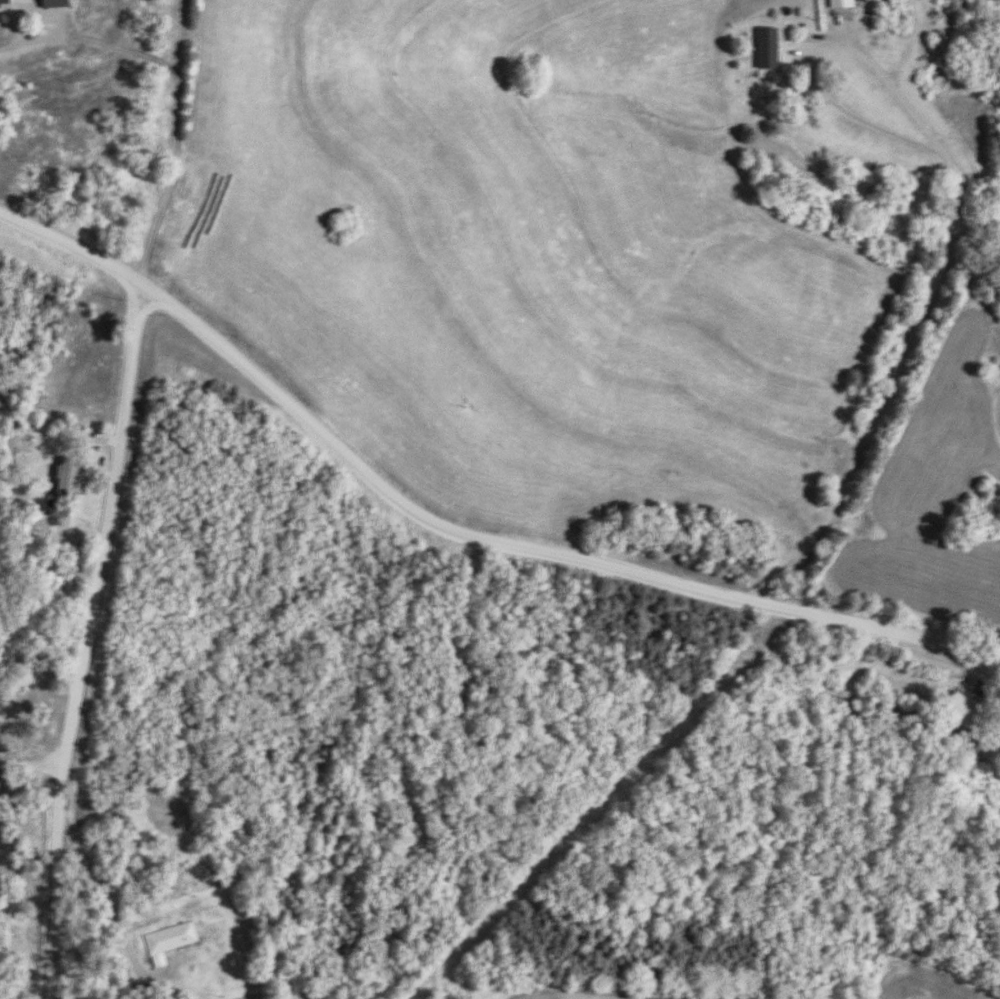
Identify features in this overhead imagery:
building: (3, 4)
building: (841, 4)
road: (48, 10)
road: (8, 50)
building: (765, 51)
road: (953, 214)
road: (73, 251)
road: (541, 266)
building: (67, 480)
road: (539, 550)
road: (82, 641)
building: (826, 691)
building: (958, 710)
building: (996, 732)
road: (30, 764)
road: (104, 900)
building: (170, 938)

